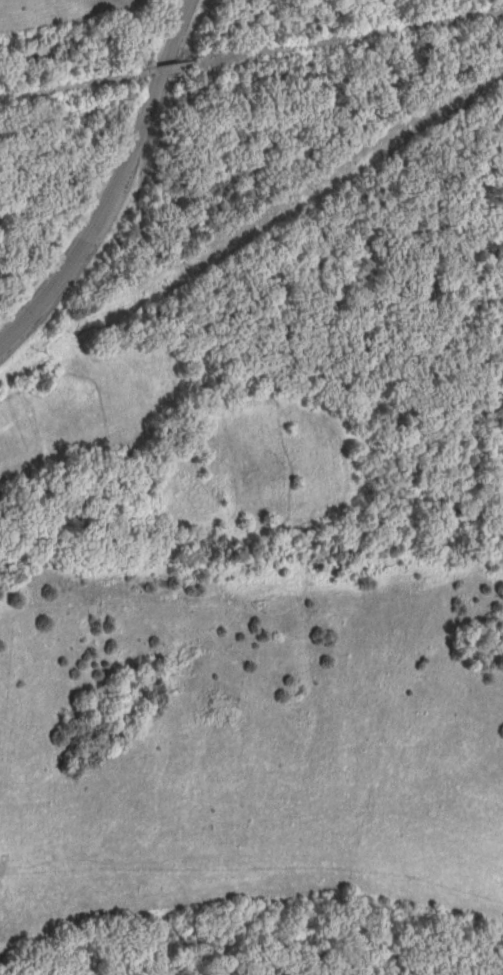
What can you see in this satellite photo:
railway: (250, 54)
road: (118, 186)

